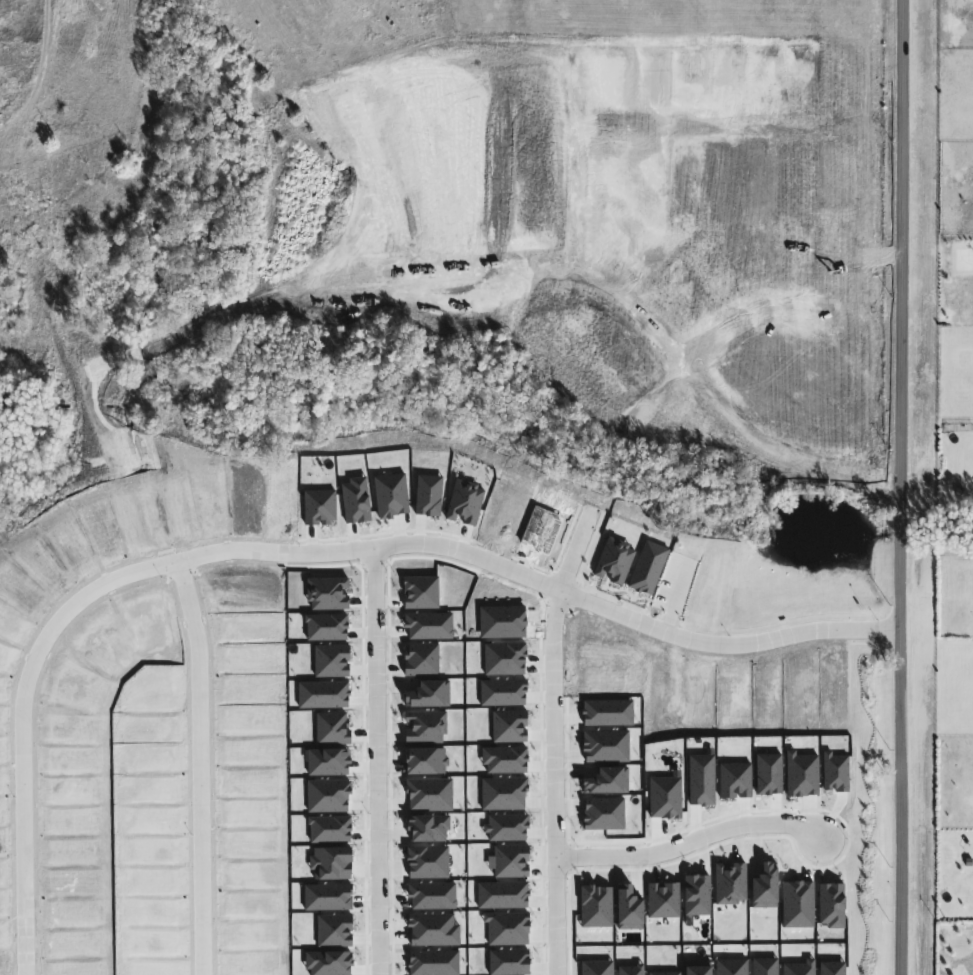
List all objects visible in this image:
road: (835, 62)
road: (765, 122)
road: (507, 127)
building: (42, 168)
road: (233, 202)
road: (129, 230)
road: (570, 323)
road: (900, 487)
road: (602, 606)
road: (35, 660)
building: (803, 710)
road: (555, 744)
road: (378, 761)
road: (202, 766)
building: (845, 810)
road: (690, 843)

